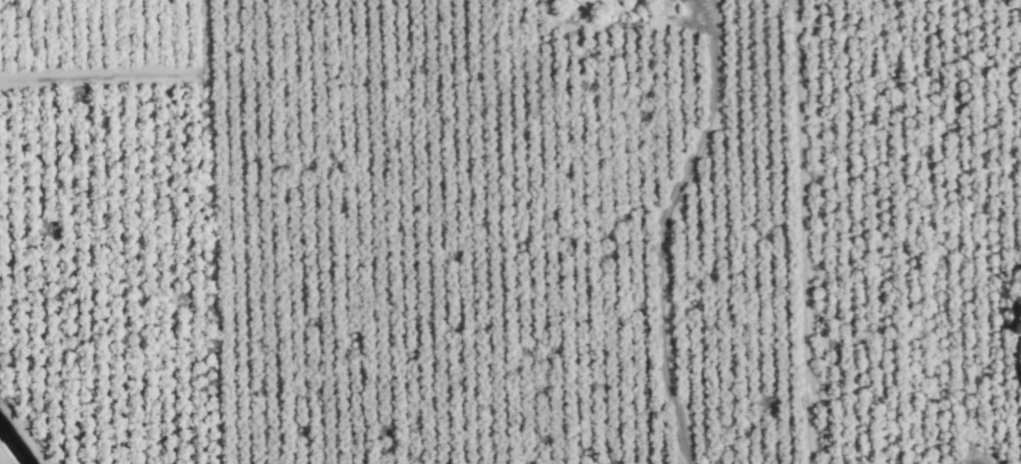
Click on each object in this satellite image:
building: (582, 1)
road: (662, 230)
crop: (510, 232)
river: (11, 448)

